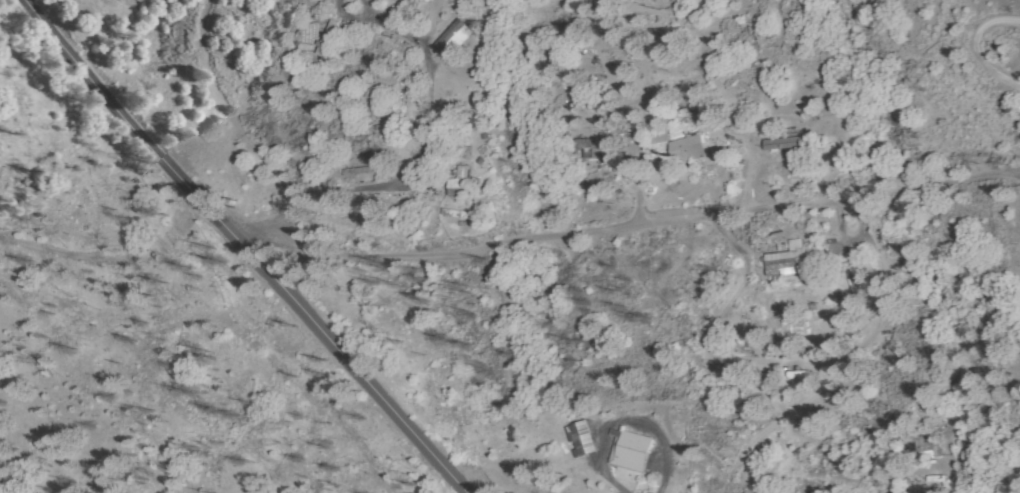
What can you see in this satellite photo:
building: (330, 39)
building: (458, 40)
road: (62, 41)
road: (977, 48)
road: (116, 88)
building: (660, 137)
road: (252, 142)
building: (787, 142)
building: (595, 146)
road: (186, 148)
building: (691, 148)
building: (361, 170)
building: (464, 183)
road: (651, 226)
road: (111, 260)
building: (789, 261)
building: (855, 282)
road: (277, 292)
building: (803, 325)
building: (800, 374)
building: (580, 438)
building: (914, 443)
building: (627, 451)
road: (498, 484)
building: (924, 488)

